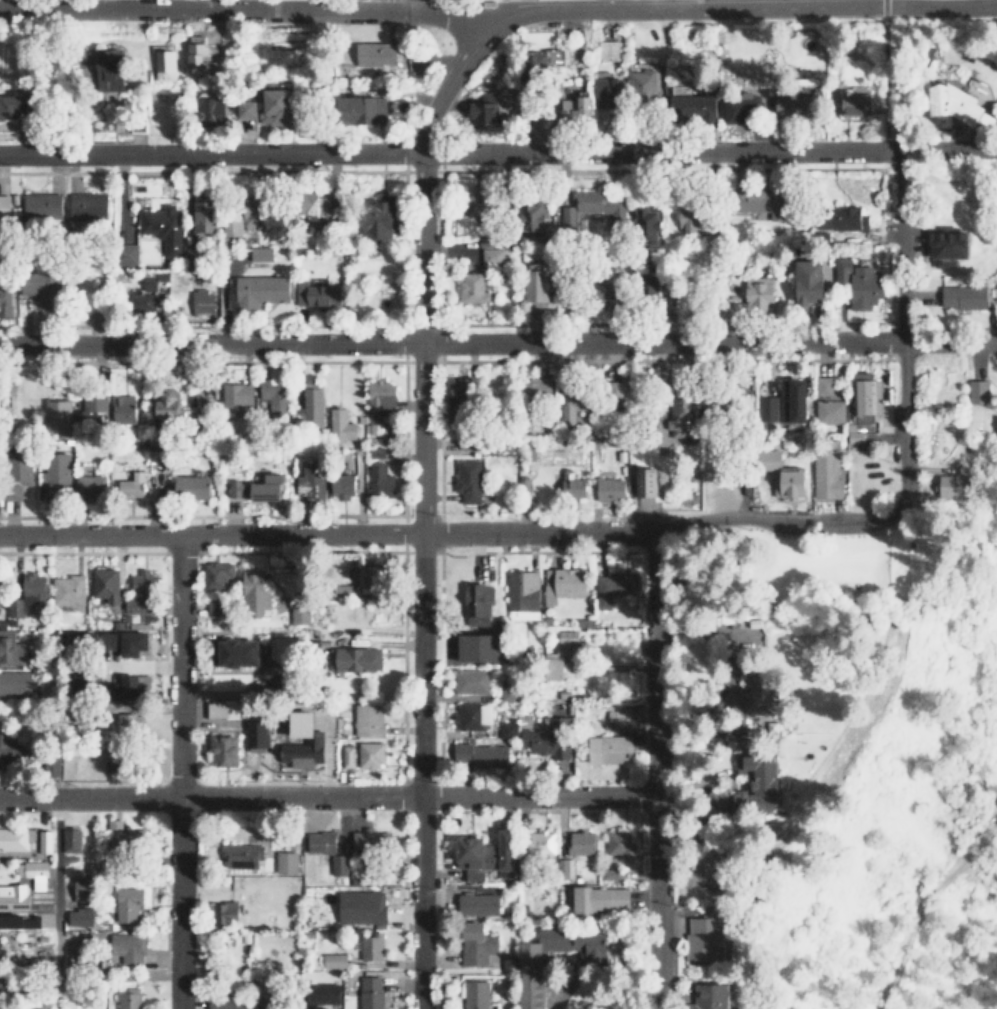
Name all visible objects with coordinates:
road: (750, 6)
road: (252, 10)
building: (607, 50)
building: (377, 53)
building: (540, 63)
building: (165, 64)
building: (109, 68)
building: (642, 83)
building: (607, 91)
building: (855, 101)
building: (276, 103)
building: (692, 104)
building: (794, 104)
building: (14, 106)
building: (212, 106)
building: (576, 107)
building: (248, 108)
building: (485, 108)
building: (742, 108)
building: (363, 109)
building: (955, 109)
road: (949, 149)
road: (451, 154)
building: (480, 200)
building: (318, 204)
building: (5, 205)
building: (43, 205)
building: (88, 206)
building: (593, 206)
building: (255, 212)
building: (204, 215)
building: (842, 217)
building: (381, 218)
building: (536, 218)
building: (692, 218)
building: (163, 226)
building: (648, 226)
building: (232, 227)
building: (820, 237)
building: (487, 242)
building: (950, 245)
building: (261, 253)
building: (129, 254)
building: (491, 256)
road: (421, 259)
building: (812, 281)
building: (148, 282)
building: (860, 283)
building: (538, 284)
building: (473, 287)
building: (43, 288)
building: (257, 290)
building: (318, 293)
building: (758, 294)
building: (964, 296)
building: (141, 300)
building: (202, 300)
building: (6, 301)
road: (498, 343)
building: (538, 386)
building: (825, 386)
building: (978, 391)
building: (237, 393)
building: (462, 393)
building: (867, 393)
building: (274, 395)
building: (381, 397)
building: (794, 399)
building: (572, 405)
building: (312, 406)
building: (91, 407)
building: (124, 408)
building: (169, 408)
building: (768, 408)
building: (829, 411)
building: (58, 417)
building: (680, 418)
building: (341, 424)
building: (855, 433)
building: (465, 440)
building: (376, 451)
road: (903, 454)
building: (771, 458)
building: (19, 473)
building: (56, 475)
building: (827, 475)
building: (380, 479)
building: (469, 479)
building: (311, 482)
building: (650, 482)
building: (790, 482)
building: (132, 484)
building: (343, 485)
building: (91, 486)
building: (193, 486)
building: (575, 487)
building: (258, 488)
building: (611, 488)
road: (536, 531)
road: (210, 533)
park: (801, 569)
building: (218, 574)
building: (372, 575)
building: (615, 582)
building: (563, 583)
building: (107, 584)
building: (296, 586)
building: (68, 589)
building: (141, 591)
building: (257, 592)
building: (29, 593)
building: (523, 595)
building: (478, 604)
building: (219, 607)
building: (300, 614)
building: (746, 622)
building: (136, 642)
building: (480, 648)
building: (13, 649)
building: (242, 652)
building: (562, 654)
building: (359, 659)
building: (471, 681)
building: (14, 682)
building: (759, 686)
building: (130, 687)
building: (508, 693)
building: (223, 709)
building: (474, 714)
building: (620, 718)
building: (368, 719)
building: (125, 723)
building: (509, 729)
building: (257, 736)
building: (320, 740)
building: (754, 740)
building: (547, 741)
building: (611, 749)
building: (226, 751)
building: (10, 753)
building: (371, 754)
building: (482, 754)
building: (348, 756)
building: (58, 765)
building: (117, 767)
road: (655, 769)
road: (418, 770)
road: (180, 771)
building: (765, 778)
road: (327, 795)
building: (742, 798)
building: (13, 838)
building: (71, 839)
building: (126, 839)
building: (45, 841)
building: (322, 841)
building: (542, 842)
building: (582, 842)
building: (620, 843)
building: (370, 844)
building: (485, 853)
building: (243, 855)
building: (287, 862)
building: (339, 864)
building: (564, 867)
building: (35, 873)
building: (611, 874)
building: (84, 887)
building: (14, 896)
building: (601, 899)
road: (923, 899)
road: (53, 902)
building: (128, 902)
building: (479, 904)
building: (363, 906)
building: (226, 910)
building: (81, 917)
building: (20, 921)
building: (705, 935)
building: (478, 943)
building: (128, 947)
building: (372, 947)
building: (1, 953)
building: (335, 960)
building: (2, 981)
building: (533, 983)
building: (323, 992)
building: (371, 992)
building: (476, 995)
building: (711, 996)
building: (131, 998)
building: (79, 1000)
building: (268, 1002)
building: (0, 1004)
building: (229, 1004)
building: (35, 1007)
building: (316, 1007)

